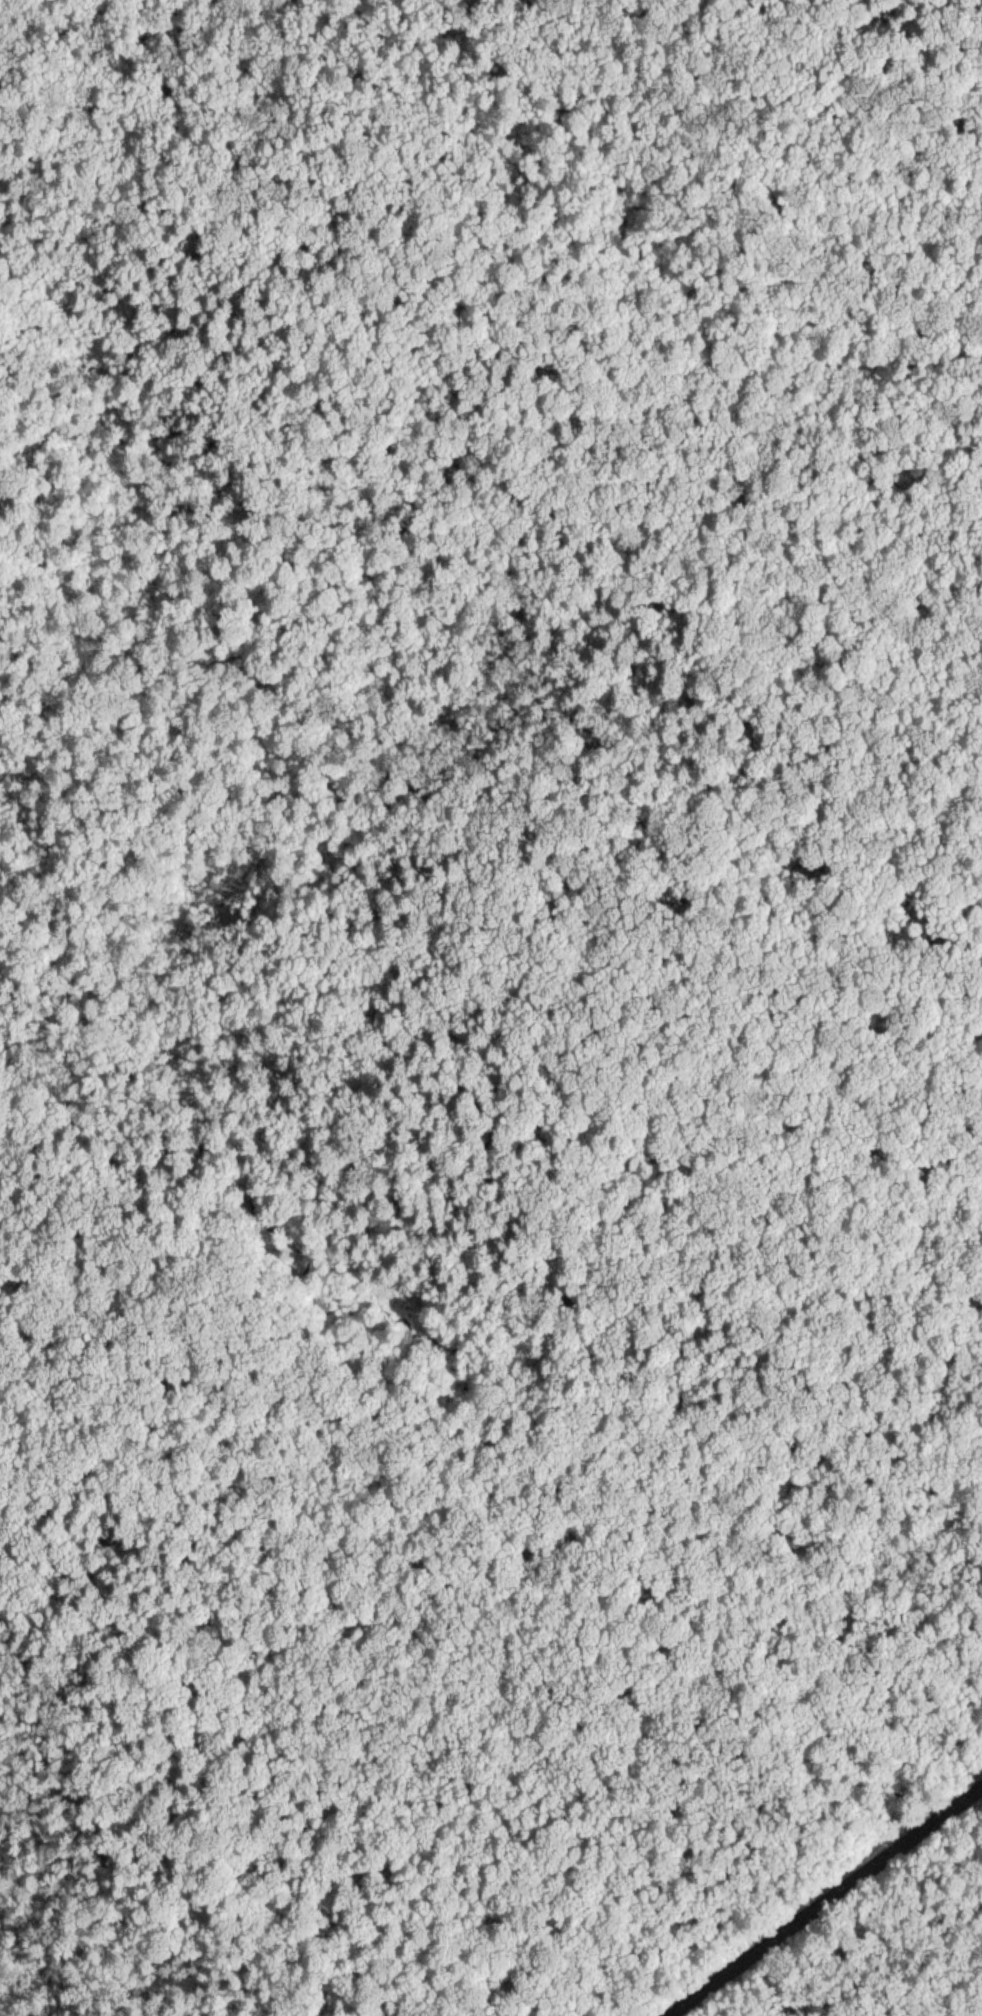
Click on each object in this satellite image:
road: (826, 1902)

